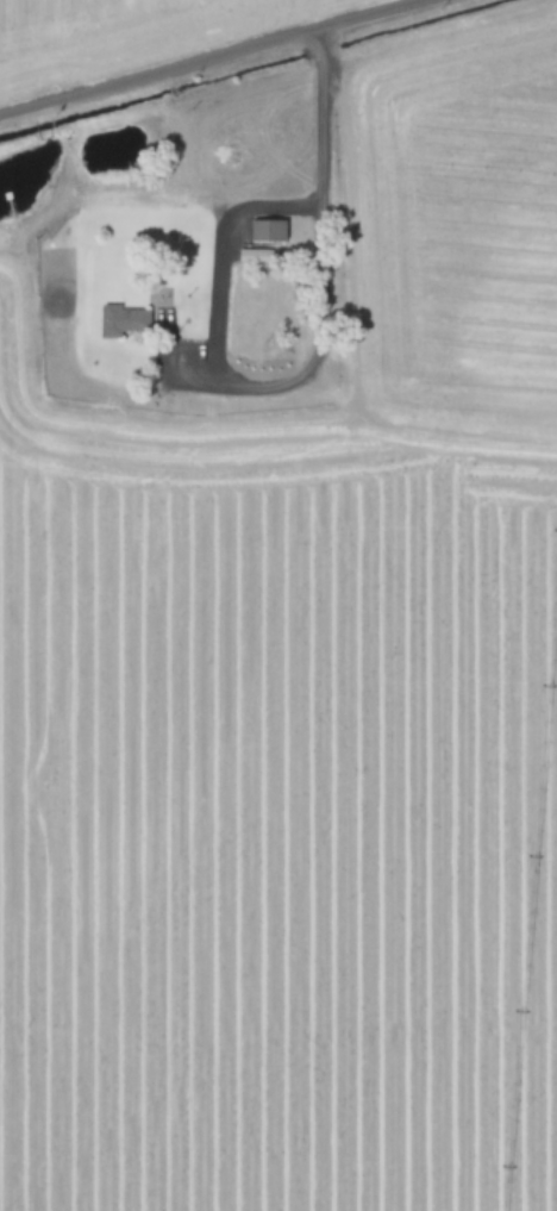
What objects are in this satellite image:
road: (207, 55)
building: (265, 230)
building: (250, 255)
road: (323, 271)
building: (120, 320)
crop: (278, 605)

